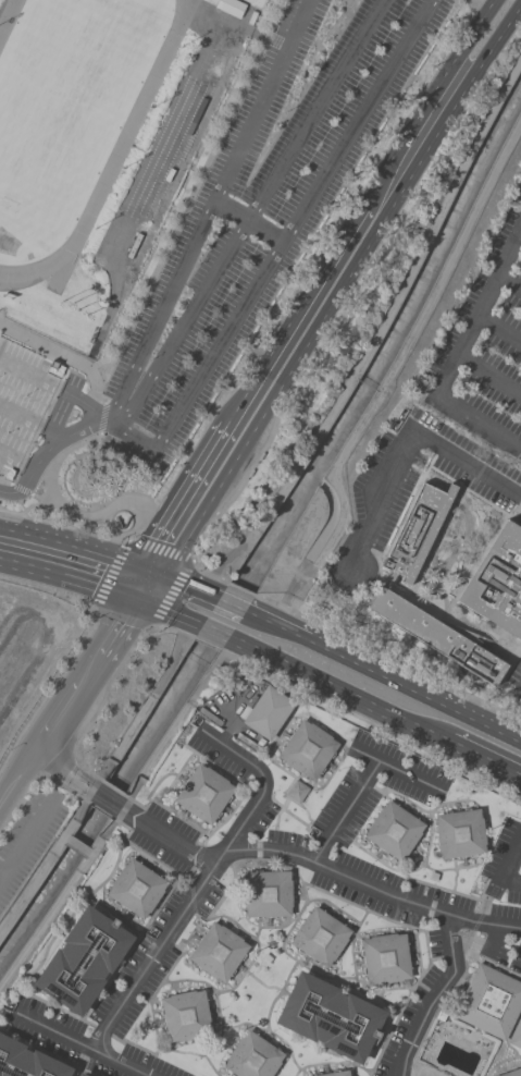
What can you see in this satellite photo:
road: (1, 2)
road: (496, 3)
road: (505, 3)
building: (230, 7)
street lamp: (274, 8)
track: (8, 16)
street lamp: (251, 56)
road: (300, 86)
park: (66, 96)
street lamp: (230, 103)
road: (435, 109)
road: (356, 120)
stadium: (98, 144)
street lamp: (207, 152)
track: (106, 166)
road: (190, 191)
street lamp: (182, 200)
parking lot: (260, 205)
road: (210, 207)
road: (251, 209)
road: (247, 221)
road: (519, 235)
building: (134, 245)
park: (12, 246)
street lamp: (161, 249)
road: (509, 282)
street lamp: (136, 298)
road: (310, 313)
road: (499, 328)
road: (375, 334)
street lamp: (112, 345)
road: (54, 351)
road: (457, 355)
road: (203, 365)
road: (393, 365)
road: (489, 375)
road: (52, 387)
street lamp: (85, 390)
building: (23, 401)
parking garage: (23, 401)
road: (32, 420)
road: (50, 445)
road: (407, 450)
road: (15, 458)
road: (4, 482)
road: (20, 489)
road: (199, 490)
road: (474, 494)
road: (47, 500)
road: (407, 505)
road: (516, 510)
road: (23, 511)
building: (418, 530)
road: (111, 531)
road: (320, 534)
road: (432, 541)
road: (76, 547)
road: (158, 548)
road: (474, 565)
traffic signals: (152, 571)
road: (207, 573)
road: (69, 574)
building: (498, 582)
road: (144, 583)
road: (185, 583)
road: (436, 585)
road: (239, 588)
traffic signals: (136, 596)
road: (231, 603)
road: (169, 609)
road: (117, 624)
road: (275, 624)
road: (461, 624)
road: (173, 629)
road: (213, 631)
building: (438, 635)
road: (206, 644)
road: (386, 658)
road: (508, 668)
road: (88, 670)
street lamp: (60, 672)
parking lot: (516, 681)
road: (413, 689)
road: (48, 690)
road: (337, 690)
road: (99, 702)
road: (145, 706)
building: (268, 712)
crop: (61, 714)
road: (54, 718)
road: (370, 721)
road: (175, 722)
building: (248, 742)
street lamp: (13, 744)
building: (308, 749)
road: (346, 750)
road: (485, 760)
road: (62, 770)
road: (178, 770)
road: (397, 770)
road: (222, 771)
road: (15, 773)
road: (287, 773)
road: (34, 775)
road: (369, 784)
road: (114, 790)
building: (296, 792)
road: (148, 793)
building: (202, 793)
road: (284, 793)
road: (107, 799)
road: (418, 807)
road: (100, 810)
road: (345, 810)
road: (286, 811)
road: (278, 812)
road: (225, 818)
road: (306, 826)
road: (320, 828)
building: (394, 830)
building: (460, 833)
parking lot: (26, 835)
road: (342, 835)
road: (165, 837)
road: (25, 839)
road: (76, 844)
road: (197, 856)
road: (248, 859)
parking lot: (506, 859)
road: (47, 860)
road: (156, 861)
road: (294, 861)
road: (508, 867)
road: (448, 869)
road: (2, 870)
road: (410, 871)
road: (189, 875)
road: (455, 880)
road: (201, 883)
road: (372, 884)
building: (136, 888)
road: (444, 889)
building: (266, 893)
road: (60, 896)
road: (334, 896)
road: (483, 896)
road: (191, 898)
road: (333, 906)
road: (73, 910)
road: (112, 914)
road: (477, 922)
road: (273, 927)
road: (188, 934)
road: (493, 936)
building: (319, 937)
road: (256, 941)
road: (269, 945)
road: (129, 947)
road: (417, 951)
building: (218, 952)
road: (291, 957)
building: (384, 958)
building: (80, 959)
road: (493, 964)
road: (352, 977)
road: (417, 977)
road: (261, 983)
road: (276, 993)
road: (437, 998)
building: (489, 1001)
road: (386, 1002)
road: (441, 1003)
road: (53, 1005)
road: (151, 1013)
building: (186, 1015)
building: (328, 1017)
road: (219, 1020)
road: (268, 1030)
building: (517, 1035)
road: (510, 1036)
road: (83, 1044)
road: (49, 1052)
building: (253, 1056)
building: (27, 1061)
road: (500, 1061)
road: (328, 1062)
road: (211, 1065)
road: (426, 1068)
road: (76, 1071)
building: (512, 1073)
building: (83, 1074)
building: (334, 1074)
building: (77, 1075)

